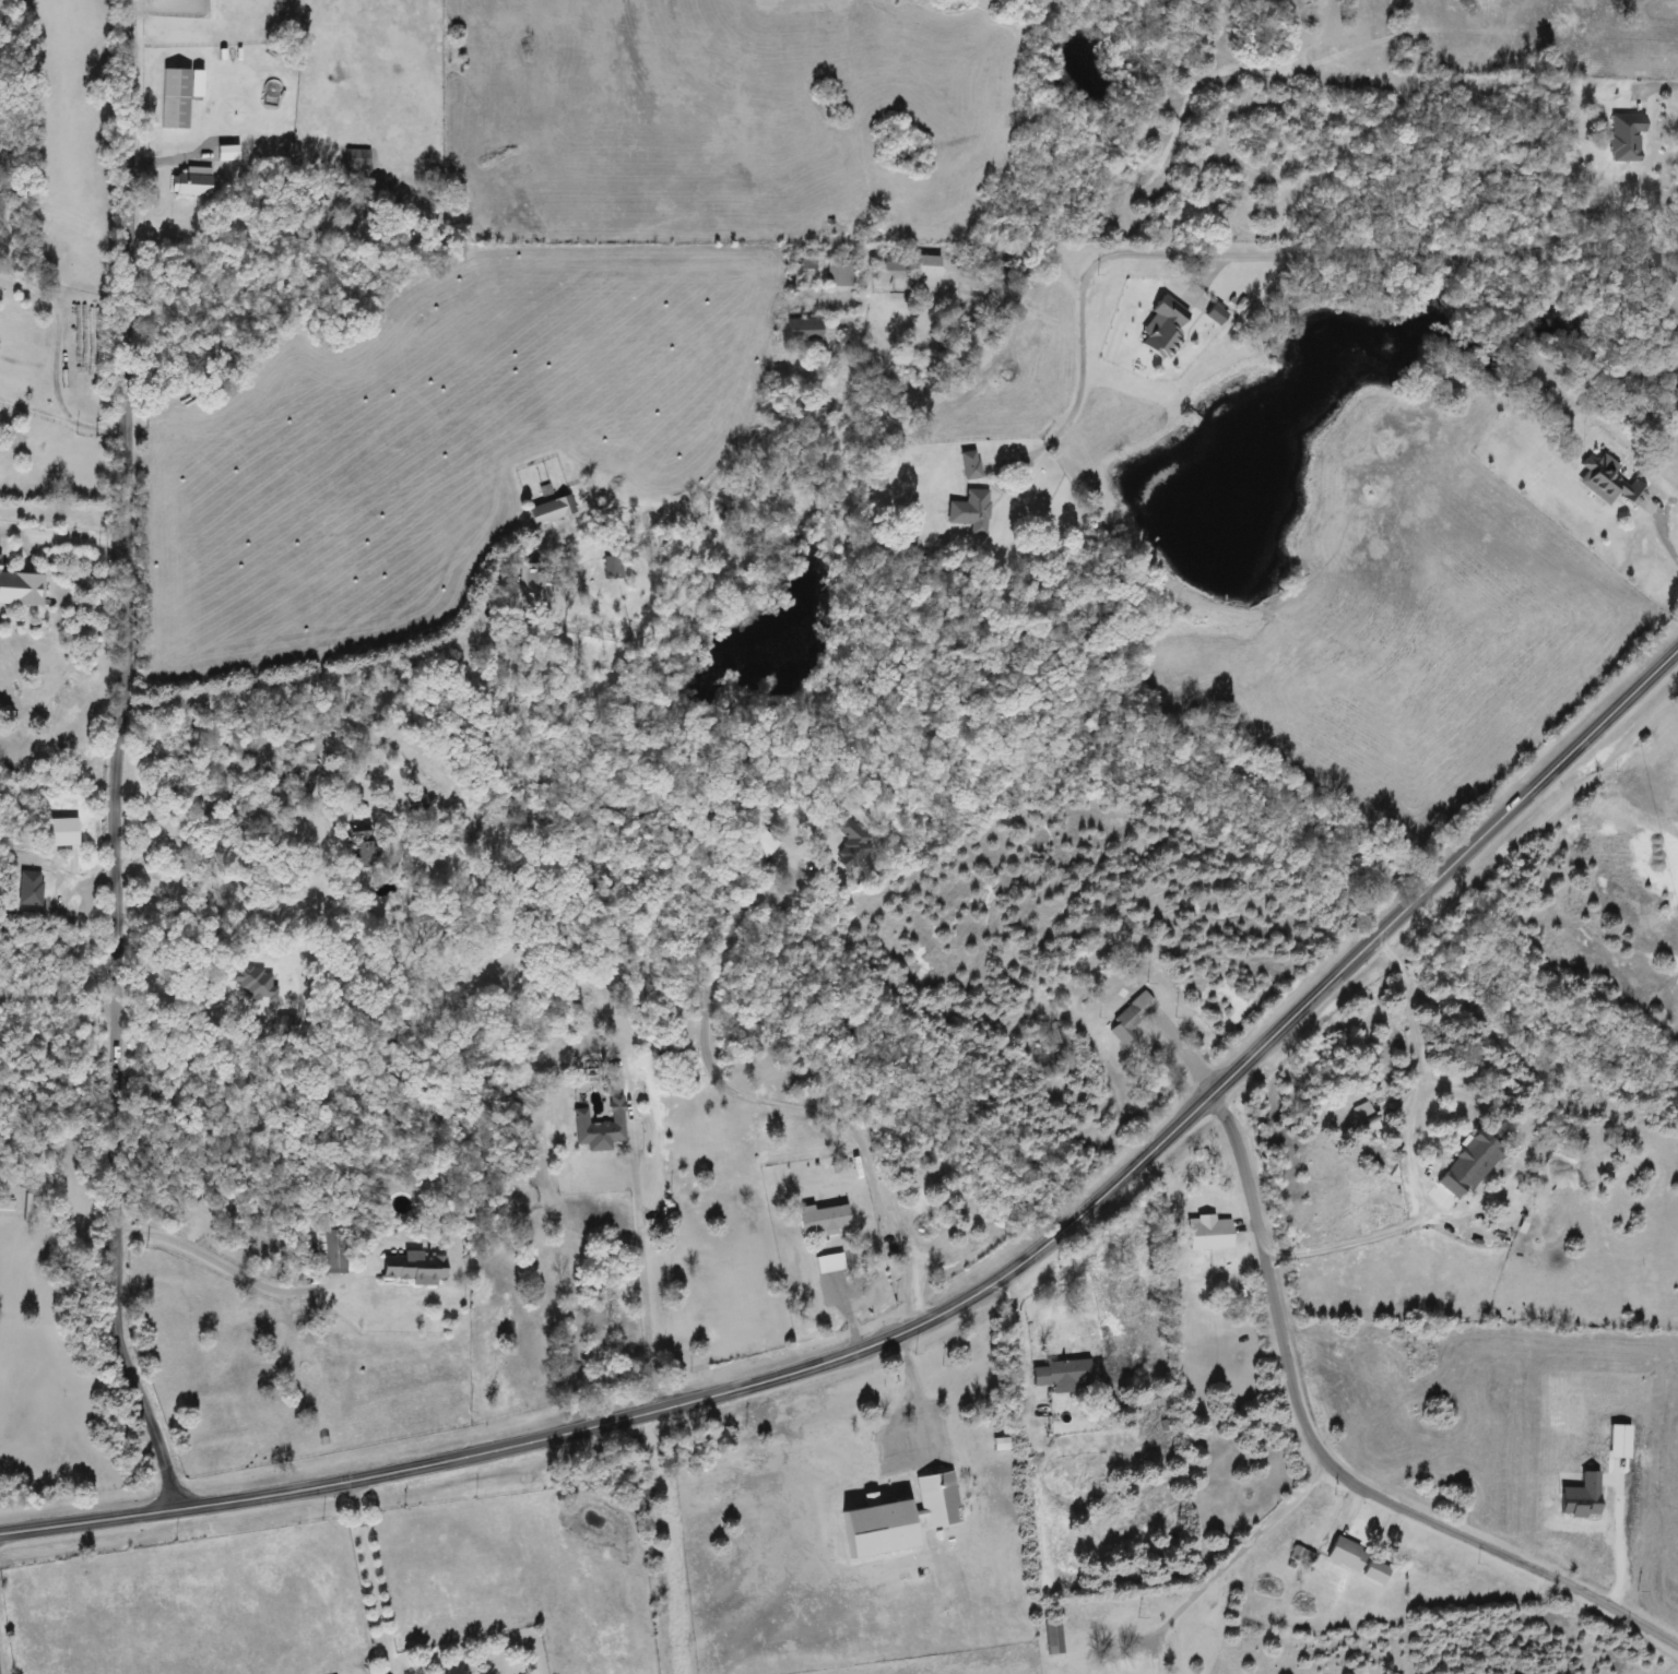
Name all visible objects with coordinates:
road: (1669, 85)
building: (175, 98)
building: (227, 153)
building: (356, 161)
building: (191, 183)
road: (1275, 257)
building: (806, 263)
building: (894, 263)
building: (925, 266)
building: (839, 273)
building: (1162, 329)
building: (805, 330)
road: (56, 331)
road: (61, 417)
building: (970, 464)
building: (1607, 483)
building: (551, 509)
building: (971, 510)
road: (1661, 535)
road: (36, 553)
building: (611, 567)
building: (20, 584)
building: (530, 584)
road: (364, 666)
building: (331, 743)
road: (115, 757)
building: (62, 832)
building: (852, 841)
road: (236, 845)
building: (758, 846)
building: (359, 848)
road: (67, 879)
building: (29, 889)
road: (56, 983)
building: (259, 983)
road: (179, 984)
road: (57, 1001)
building: (1130, 1016)
building: (289, 1025)
road: (1183, 1046)
road: (767, 1103)
building: (1368, 1121)
building: (601, 1128)
road: (1407, 1151)
building: (1468, 1165)
building: (7, 1204)
building: (823, 1219)
building: (1207, 1233)
building: (332, 1250)
road: (638, 1267)
building: (414, 1268)
road: (231, 1270)
road: (950, 1304)
road: (1021, 1339)
building: (1060, 1375)
road: (912, 1390)
road: (1328, 1463)
building: (900, 1517)
road: (1618, 1543)
road: (1228, 1558)
building: (1375, 1571)
road: (368, 1575)
building: (1052, 1638)

